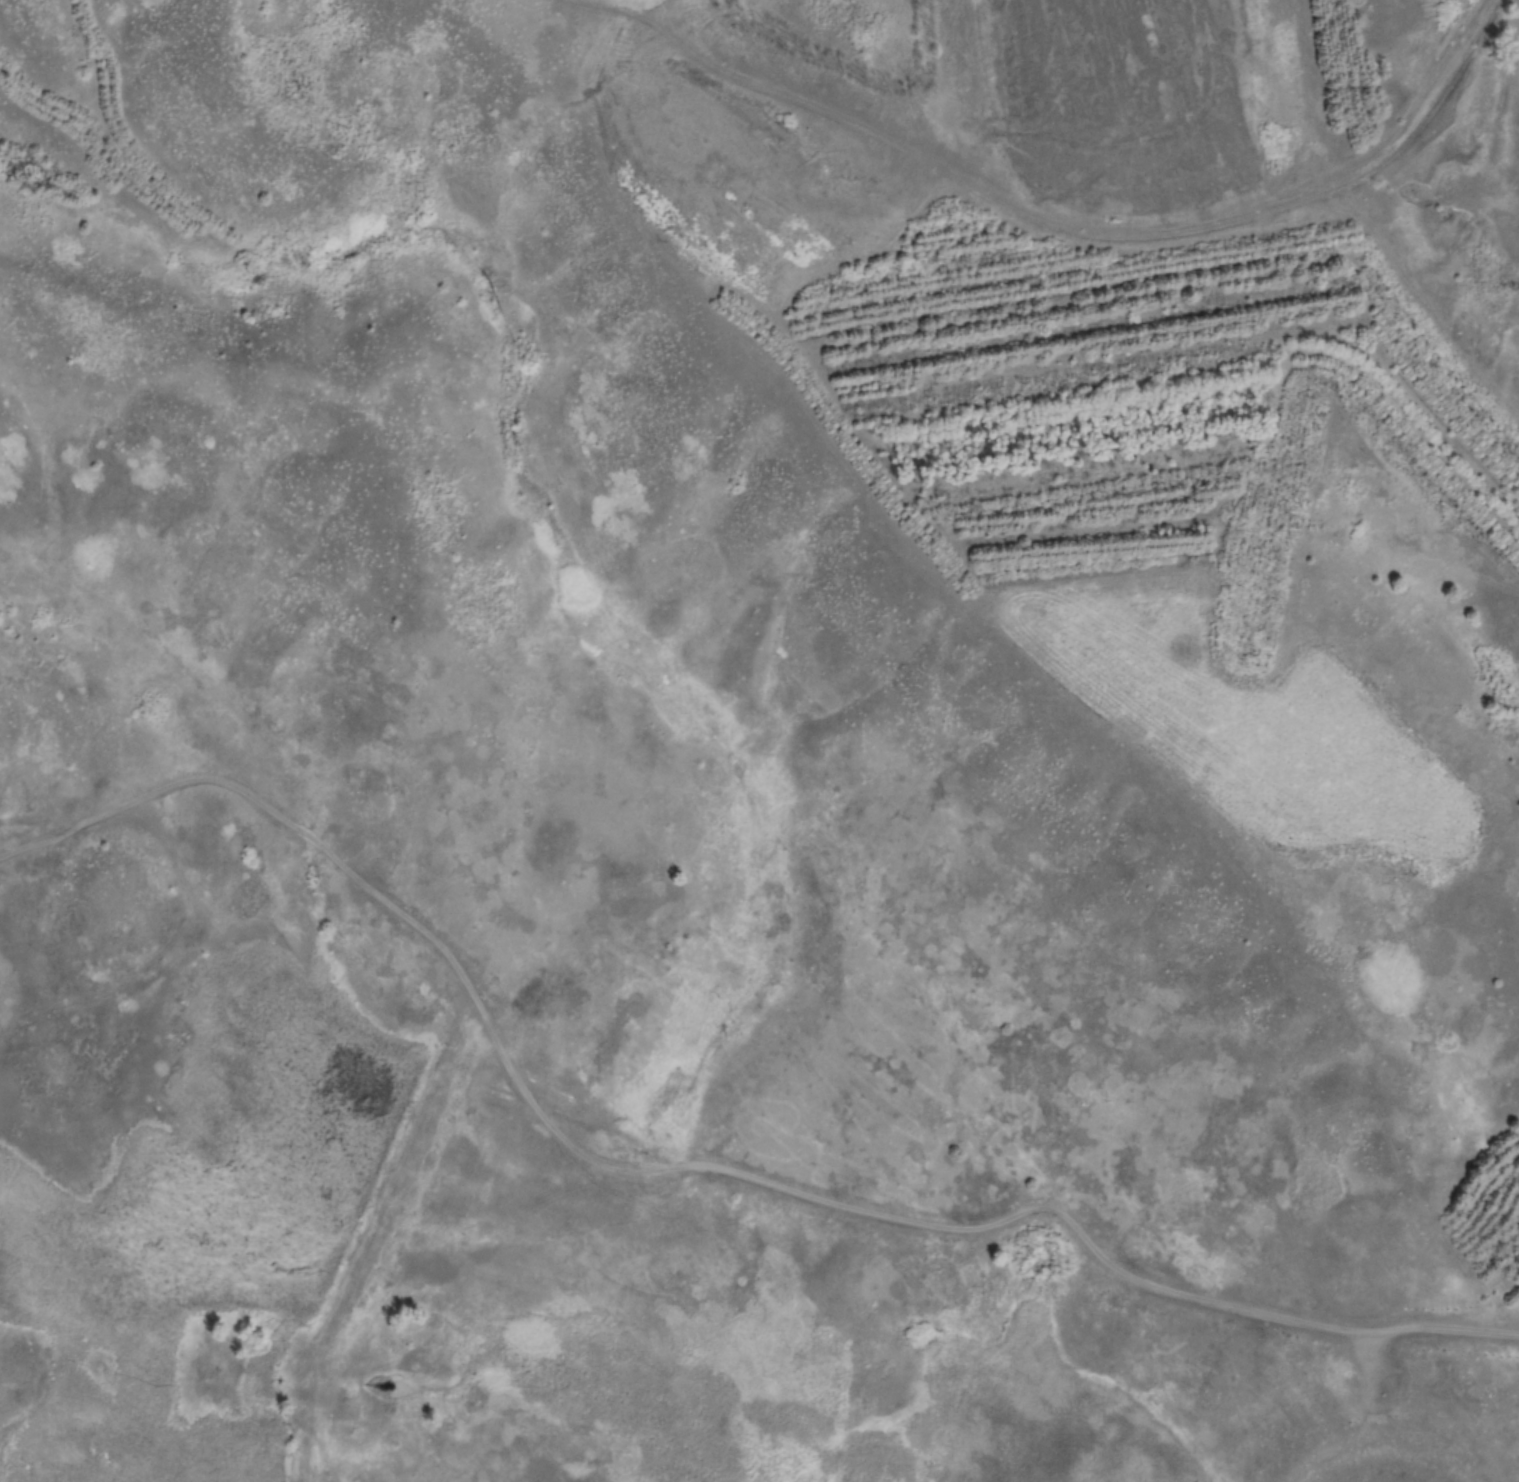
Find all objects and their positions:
road: (1080, 222)

